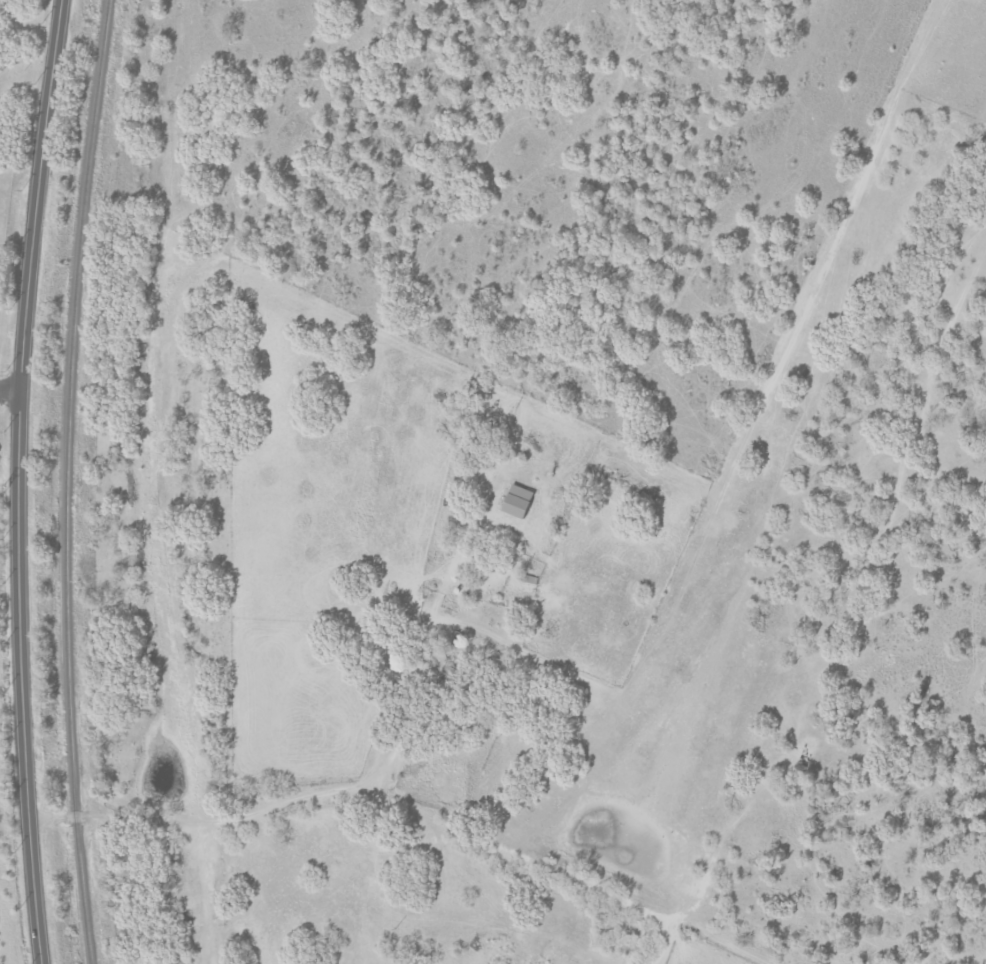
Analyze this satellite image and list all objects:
road: (28, 33)
road: (10, 391)
road: (19, 481)
railway: (64, 481)
building: (513, 501)
road: (226, 819)

